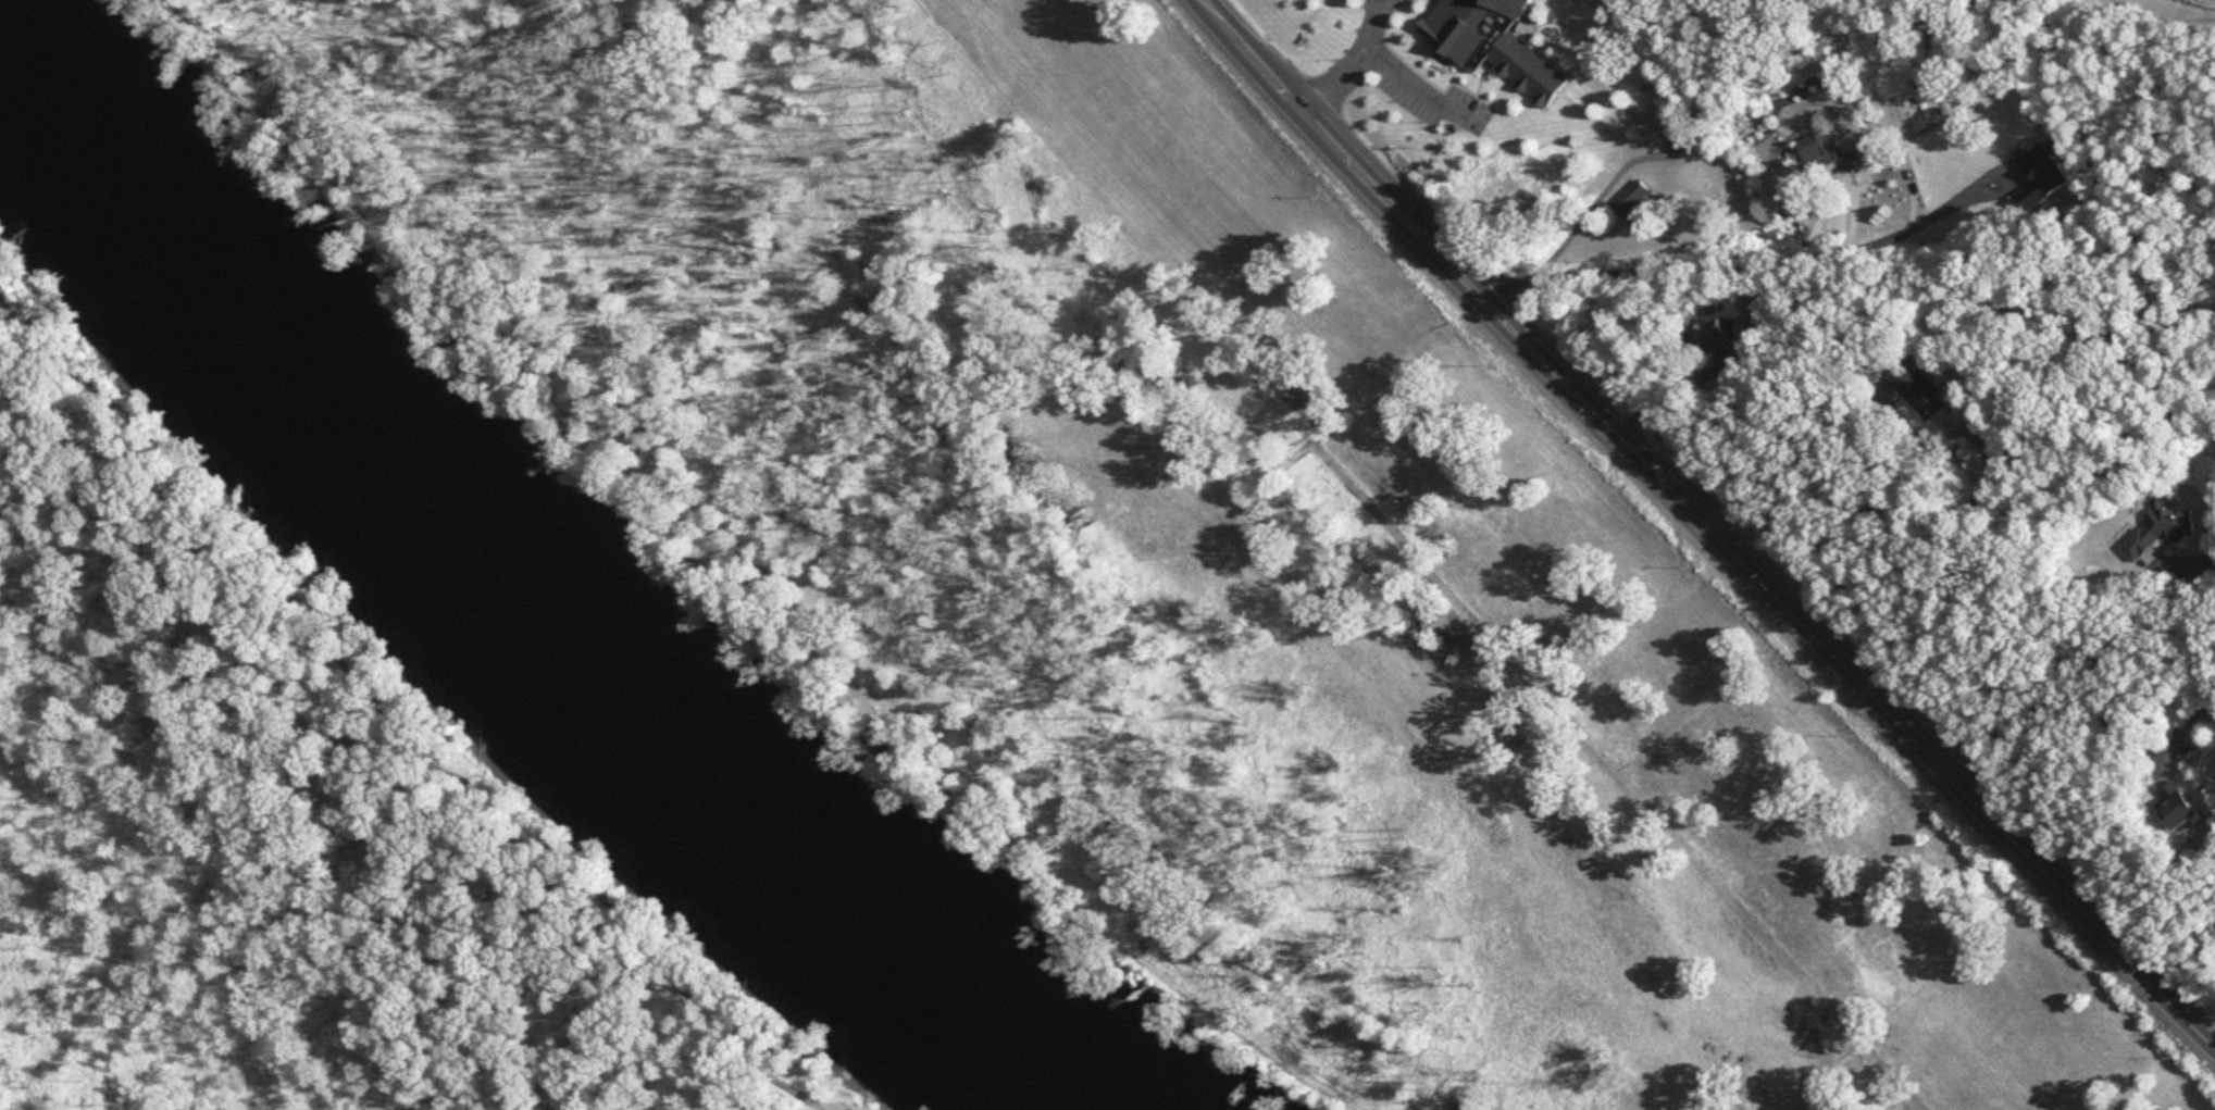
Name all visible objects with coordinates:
building: (1489, 43)
road: (1345, 59)
road: (1402, 85)
building: (1655, 124)
building: (1817, 152)
building: (1918, 160)
road: (1911, 200)
building: (1631, 204)
road: (1406, 219)
road: (1572, 228)
road: (1665, 269)
park: (27, 301)
building: (1717, 358)
building: (1901, 382)
road: (1652, 385)
road: (1778, 463)
building: (2160, 527)
river: (530, 596)
road: (2080, 666)
road: (2204, 714)
road: (387, 716)
road: (1914, 740)
building: (2167, 807)
park: (296, 834)

